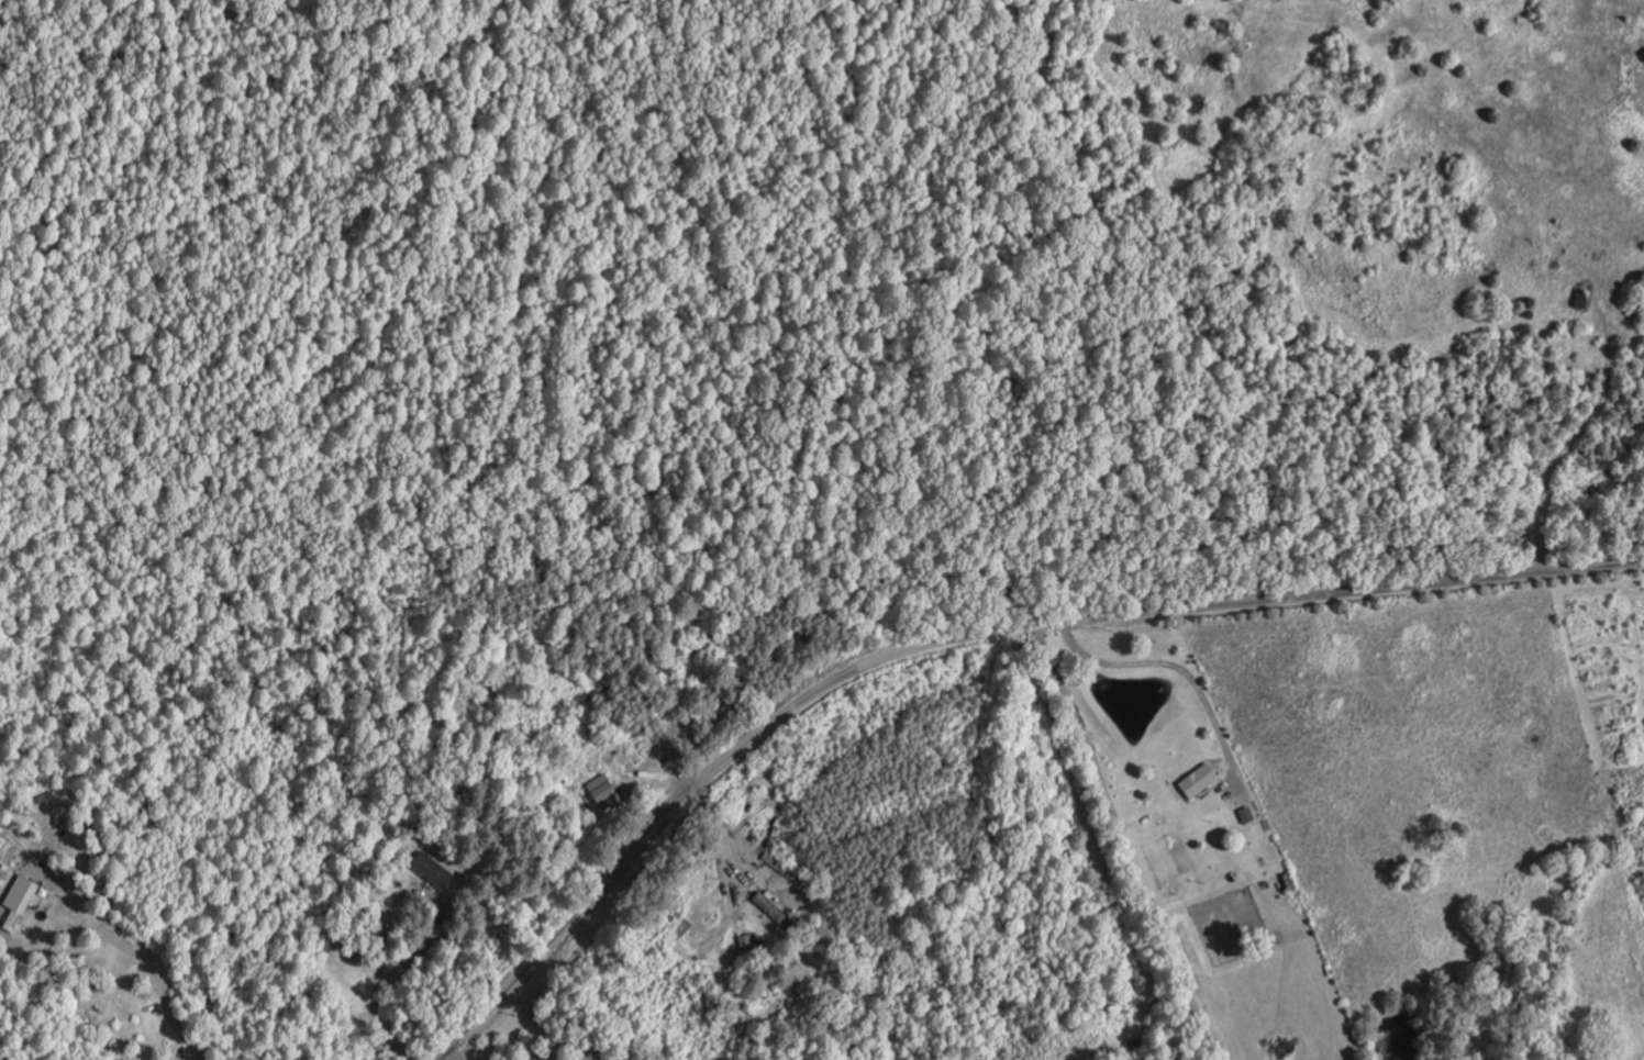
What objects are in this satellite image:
road: (963, 636)
building: (1200, 781)
building: (606, 792)
road: (1140, 839)
building: (433, 870)
building: (20, 901)
building: (773, 908)

